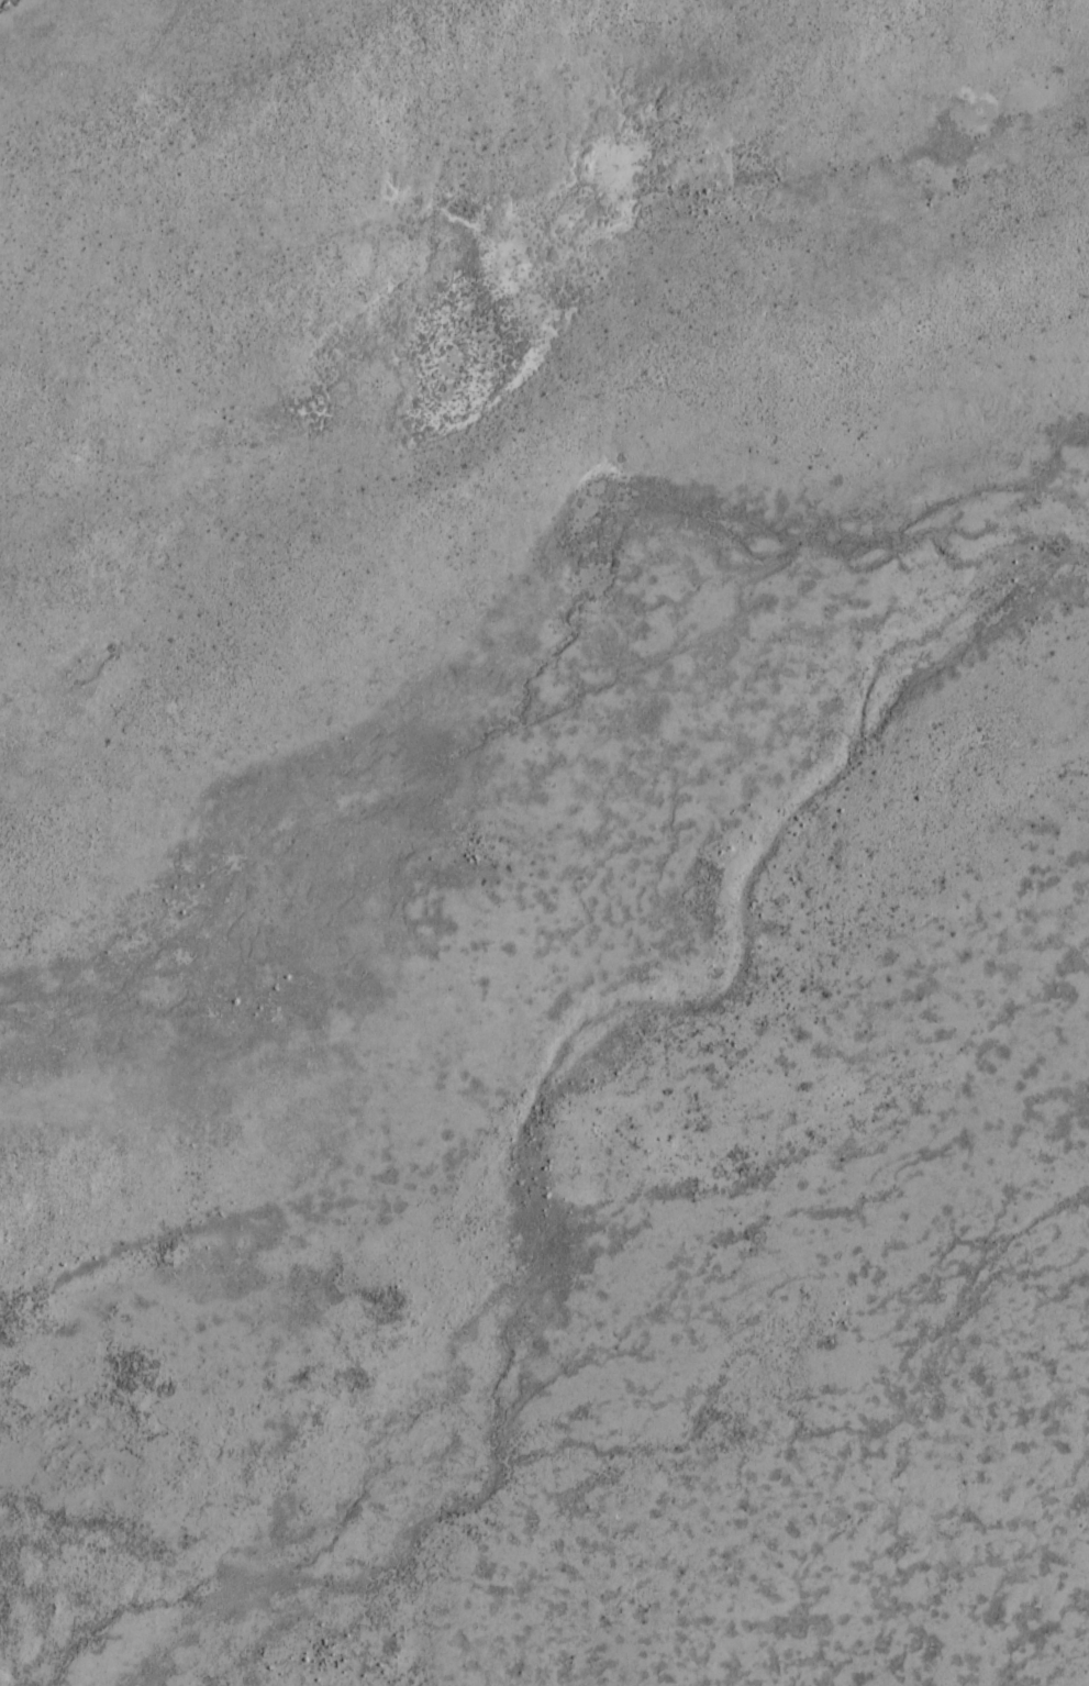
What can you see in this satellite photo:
river: (531, 1078)

